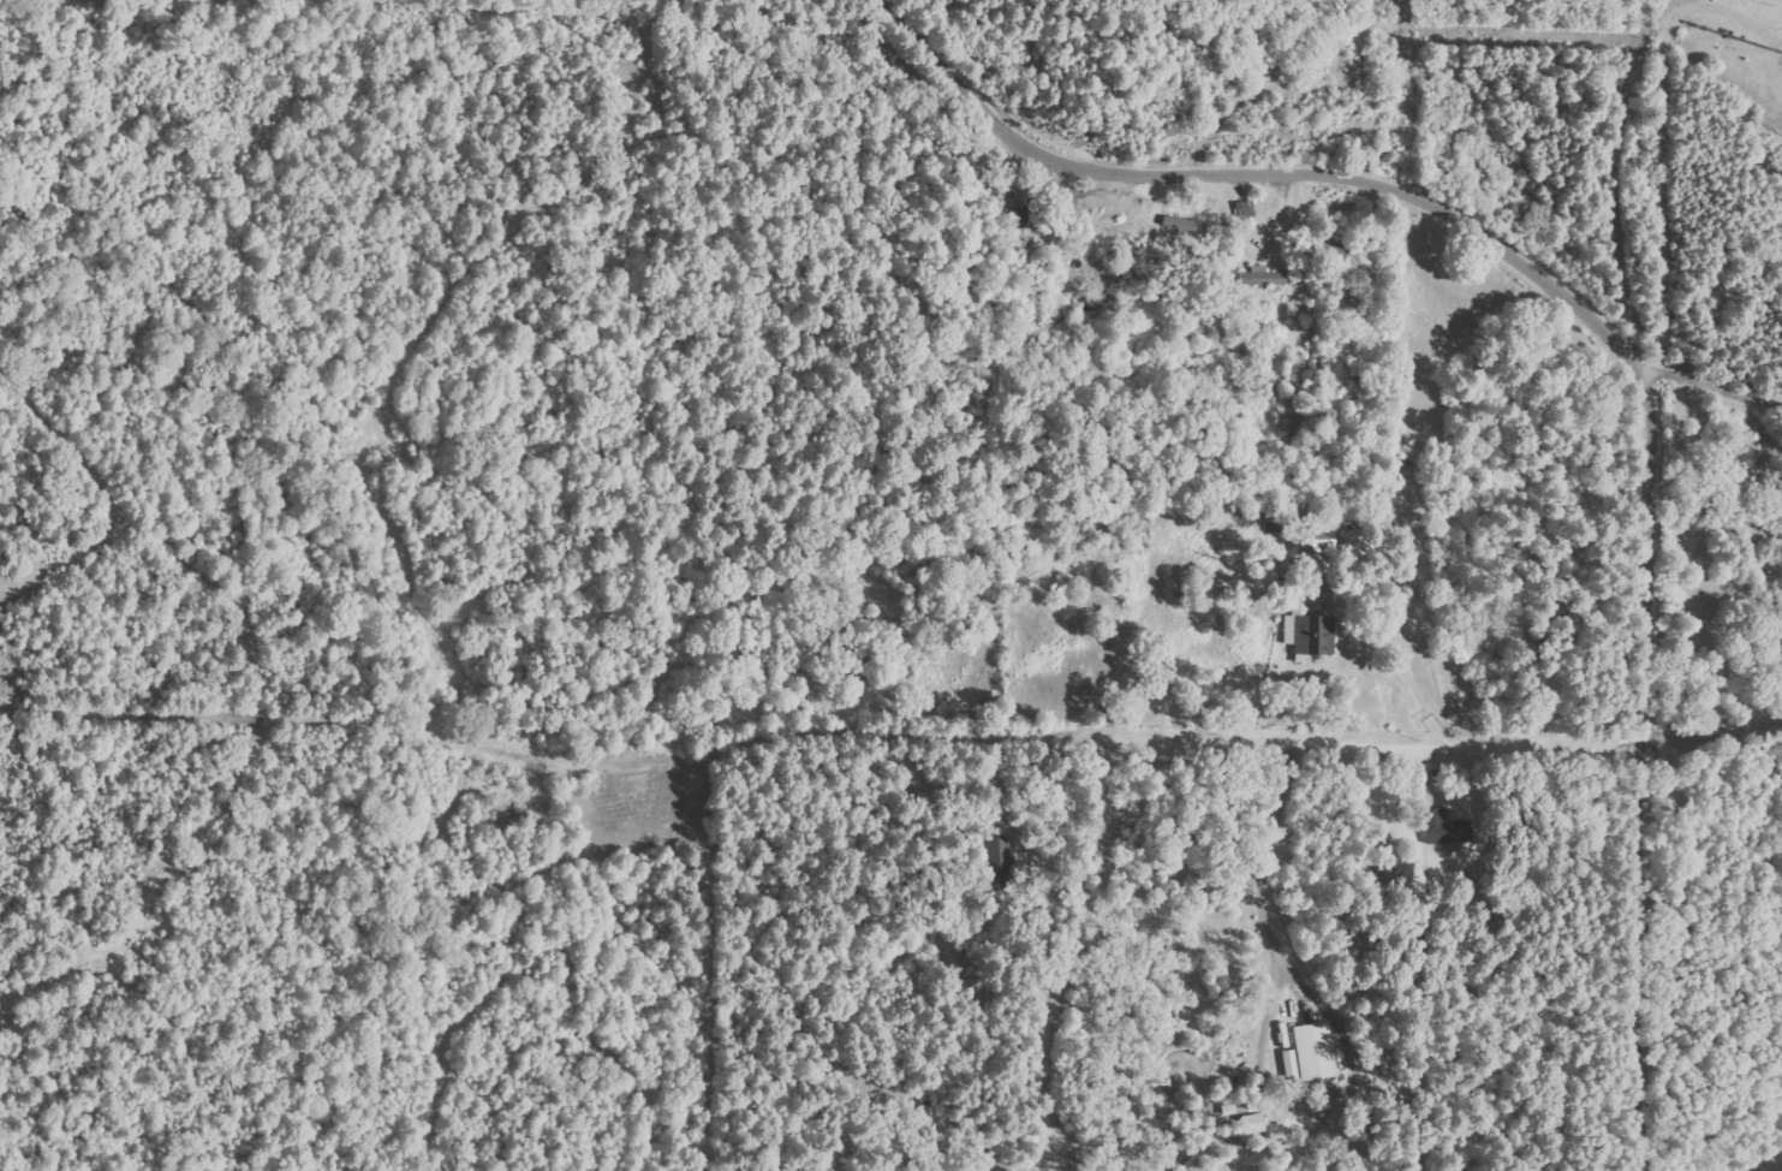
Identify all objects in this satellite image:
building: (1024, 218)
building: (1180, 224)
building: (1267, 278)
road: (1610, 335)
building: (1325, 541)
building: (1310, 634)
road: (824, 718)
building: (1447, 827)
building: (1000, 854)
building: (1317, 1051)
building: (1253, 1123)

